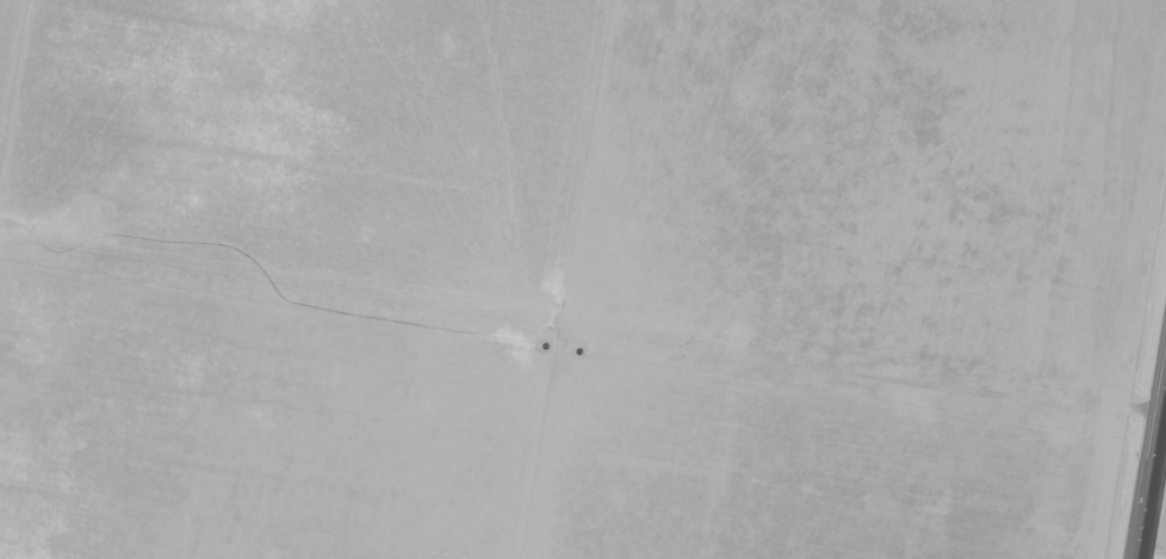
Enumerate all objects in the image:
road: (1160, 420)
road: (1147, 507)

